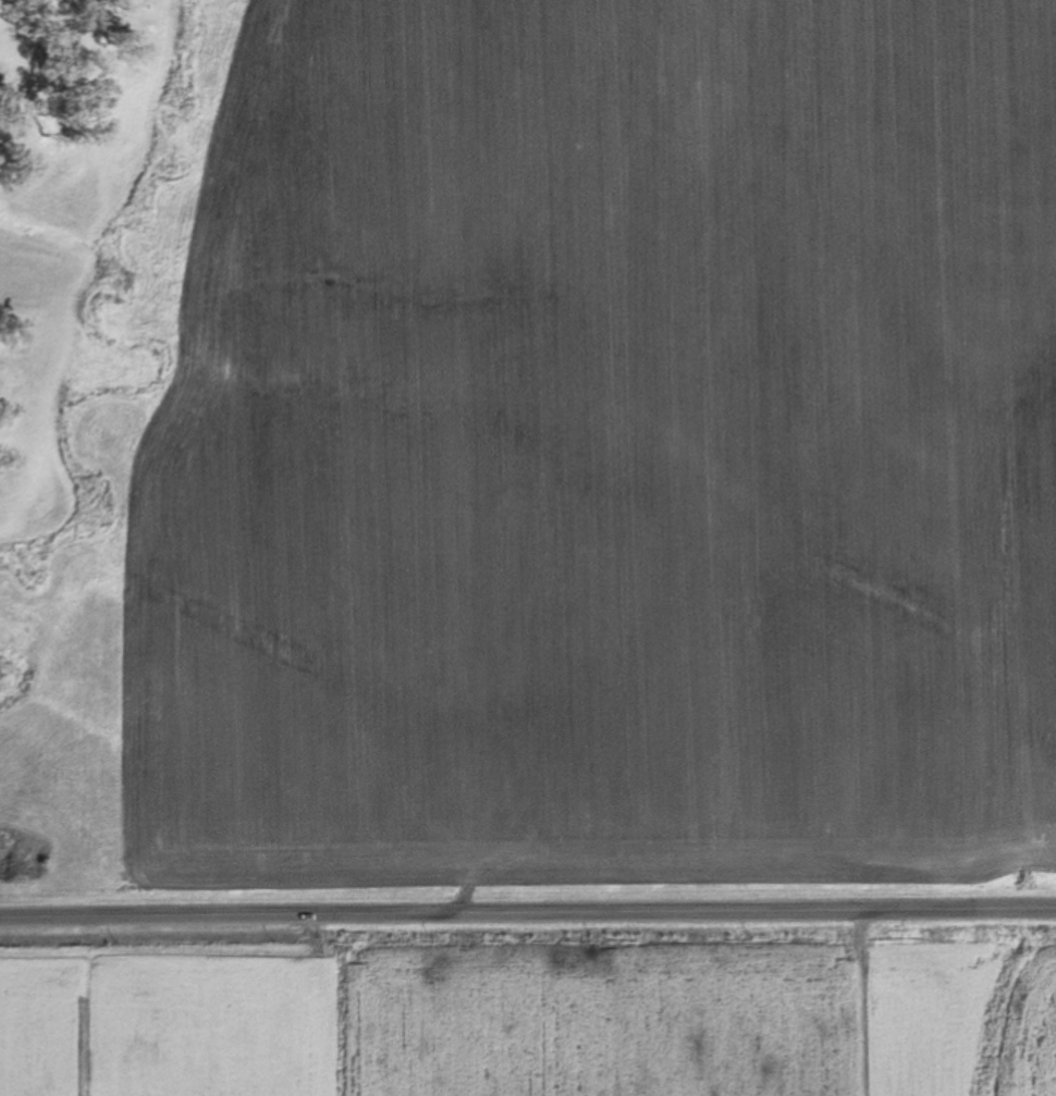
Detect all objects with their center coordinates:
road: (528, 916)

